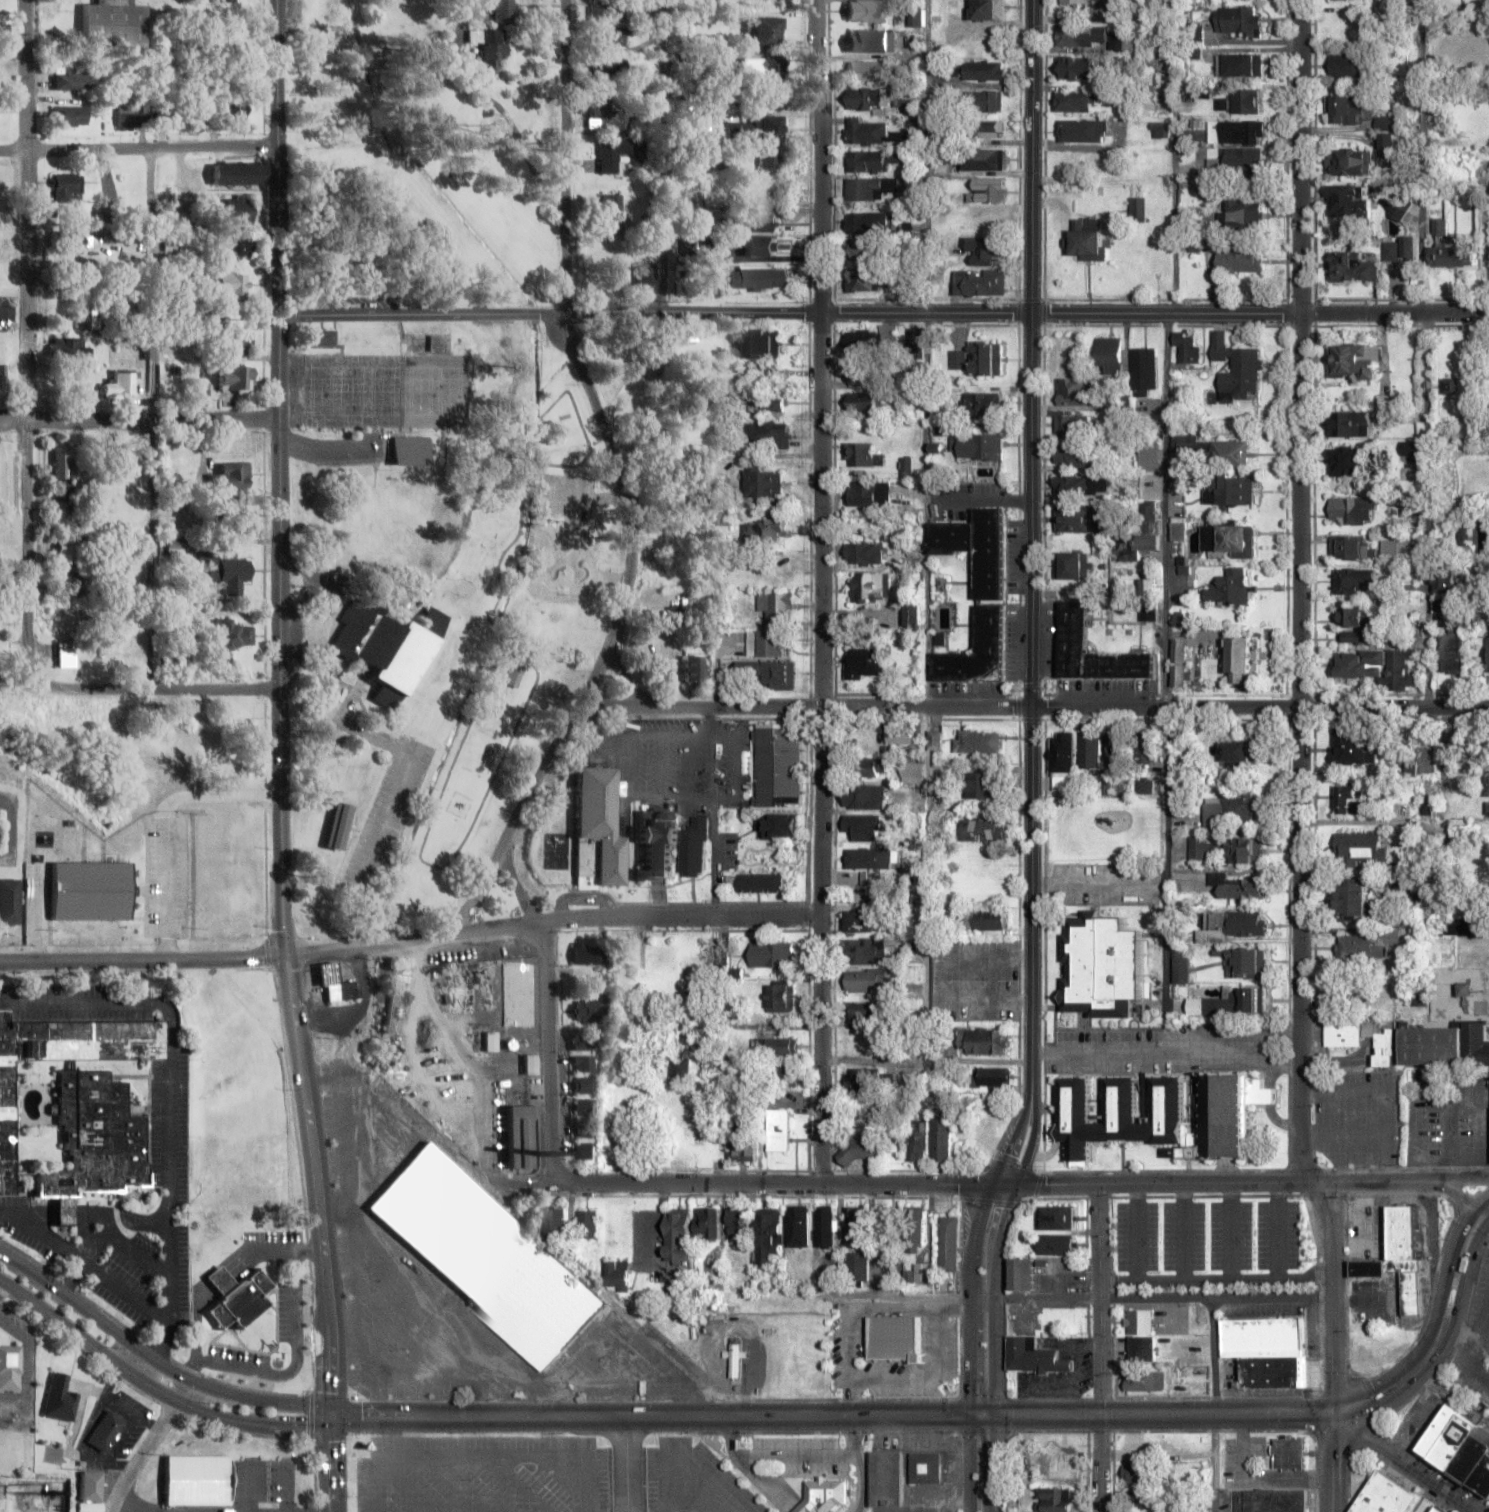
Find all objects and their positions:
building: (769, 0)
building: (1084, 3)
building: (987, 9)
building: (503, 10)
building: (868, 11)
building: (609, 13)
building: (917, 17)
building: (1238, 20)
building: (114, 24)
building: (766, 34)
building: (1096, 36)
building: (611, 37)
building: (869, 41)
building: (489, 47)
building: (1239, 64)
building: (1350, 65)
building: (1078, 67)
building: (608, 68)
building: (762, 69)
building: (867, 70)
building: (984, 70)
building: (70, 75)
building: (866, 98)
building: (984, 100)
building: (1244, 100)
building: (1074, 101)
building: (1351, 108)
building: (133, 114)
building: (237, 114)
building: (606, 115)
building: (70, 116)
building: (990, 128)
building: (1159, 129)
building: (756, 130)
building: (1082, 130)
building: (1238, 132)
building: (1388, 132)
building: (874, 133)
road: (139, 150)
building: (614, 153)
road: (665, 157)
building: (1244, 158)
building: (984, 159)
building: (874, 160)
building: (769, 161)
building: (1346, 161)
building: (238, 173)
park: (412, 174)
building: (65, 186)
building: (870, 188)
building: (988, 190)
building: (1343, 200)
building: (1136, 206)
building: (236, 211)
building: (1399, 211)
building: (613, 212)
building: (1244, 214)
building: (762, 222)
building: (867, 222)
building: (993, 223)
building: (1090, 240)
building: (237, 247)
building: (760, 247)
building: (867, 249)
building: (1401, 249)
building: (987, 251)
building: (1455, 255)
building: (1239, 260)
building: (1352, 267)
building: (647, 275)
building: (757, 278)
building: (863, 280)
building: (981, 283)
building: (233, 284)
building: (87, 312)
road: (884, 315)
building: (218, 316)
road: (29, 338)
building: (324, 338)
building: (864, 341)
building: (761, 343)
building: (915, 343)
building: (239, 346)
building: (1186, 346)
building: (80, 352)
road: (819, 354)
road: (1030, 354)
road: (1165, 354)
road: (1425, 354)
building: (1110, 355)
building: (987, 358)
building: (959, 359)
building: (1353, 360)
building: (1236, 367)
building: (1144, 368)
building: (774, 371)
building: (863, 373)
building: (235, 379)
building: (4, 382)
building: (125, 384)
building: (1447, 385)
building: (203, 389)
building: (1074, 391)
park: (323, 393)
park: (382, 393)
park: (421, 393)
park: (353, 394)
park: (449, 394)
building: (862, 402)
building: (774, 403)
building: (984, 404)
road: (280, 411)
road: (157, 420)
road: (140, 423)
building: (1073, 426)
building: (770, 434)
road: (609, 436)
building: (979, 445)
building: (1218, 450)
building: (172, 451)
building: (412, 451)
parking lot: (352, 452)
road: (488, 454)
building: (866, 454)
building: (1078, 456)
building: (1148, 456)
building: (1346, 460)
building: (66, 462)
building: (121, 464)
building: (907, 467)
building: (230, 475)
building: (764, 482)
building: (1077, 485)
building: (1232, 491)
building: (869, 493)
building: (1352, 510)
building: (1076, 518)
building: (236, 522)
parking lot: (563, 529)
building: (765, 530)
building: (1179, 530)
road: (926, 531)
building: (1137, 532)
building: (1464, 535)
building: (676, 537)
building: (1229, 538)
building: (179, 545)
building: (1352, 546)
building: (65, 551)
building: (864, 553)
building: (1075, 565)
building: (226, 571)
building: (772, 571)
building: (1356, 580)
building: (1148, 585)
building: (870, 586)
building: (70, 587)
building: (1230, 588)
road: (1301, 591)
building: (976, 594)
park: (434, 598)
building: (777, 605)
building: (1147, 611)
building: (682, 616)
building: (913, 616)
building: (1353, 616)
building: (1072, 625)
building: (232, 635)
building: (1358, 636)
building: (385, 643)
building: (766, 643)
building: (1452, 651)
building: (67, 655)
building: (1487, 656)
building: (1240, 659)
building: (865, 662)
building: (1178, 662)
building: (1377, 667)
building: (694, 671)
building: (781, 674)
building: (515, 676)
road: (628, 683)
road: (153, 690)
road: (617, 707)
road: (844, 708)
road: (1394, 709)
road: (1165, 710)
building: (898, 735)
building: (977, 741)
building: (1147, 746)
building: (1091, 749)
building: (1117, 749)
building: (1355, 749)
road: (708, 752)
building: (1238, 752)
building: (1061, 758)
parking lot: (678, 763)
building: (777, 765)
road: (662, 766)
road: (692, 766)
building: (870, 768)
building: (1487, 783)
building: (981, 784)
road: (732, 796)
building: (864, 796)
building: (1349, 800)
building: (916, 802)
building: (1488, 807)
building: (1229, 810)
parking lot: (390, 814)
building: (777, 826)
building: (863, 826)
road: (167, 827)
building: (981, 829)
building: (595, 831)
building: (656, 841)
building: (693, 847)
road: (422, 848)
parking lot: (727, 849)
building: (1361, 849)
building: (1225, 850)
road: (713, 857)
building: (866, 858)
parking lot: (167, 877)
building: (761, 883)
road: (519, 886)
road: (483, 888)
building: (1242, 888)
road: (281, 889)
building: (90, 890)
road: (585, 897)
road: (1031, 900)
building: (1352, 900)
building: (9, 901)
road: (642, 918)
building: (985, 920)
building: (862, 921)
building: (1235, 922)
road: (374, 945)
building: (1358, 946)
road: (819, 947)
building: (865, 951)
building: (772, 953)
building: (586, 954)
traffic signals: (282, 957)
road: (141, 961)
building: (1249, 961)
building: (1102, 965)
building: (865, 980)
building: (1352, 982)
building: (335, 983)
building: (781, 996)
building: (1254, 999)
building: (397, 1004)
building: (1211, 1005)
building: (592, 1010)
building: (866, 1011)
building: (984, 1040)
building: (1342, 1040)
building: (492, 1041)
building: (585, 1043)
building: (1477, 1044)
building: (782, 1045)
building: (1432, 1046)
road: (551, 1052)
road: (926, 1063)
building: (531, 1064)
building: (585, 1064)
building: (680, 1071)
building: (785, 1075)
building: (994, 1078)
building: (861, 1079)
building: (460, 1090)
building: (585, 1098)
road: (168, 1102)
building: (426, 1109)
building: (1163, 1115)
building: (7, 1125)
building: (780, 1129)
building: (586, 1130)
park: (982, 1131)
building: (520, 1135)
building: (95, 1136)
building: (941, 1138)
road: (1010, 1138)
road: (1031, 1139)
building: (917, 1140)
building: (741, 1150)
building: (585, 1151)
road: (1457, 1179)
road: (1374, 1183)
road: (1156, 1184)
road: (526, 1185)
road: (772, 1185)
traffic signals: (990, 1185)
traffic signals: (1016, 1185)
road: (318, 1187)
road: (1456, 1201)
building: (1060, 1217)
building: (556, 1222)
building: (708, 1222)
building: (589, 1223)
building: (739, 1224)
building: (856, 1224)
building: (768, 1225)
building: (797, 1225)
building: (916, 1225)
building: (826, 1226)
road: (1280, 1228)
road: (1187, 1229)
road: (1233, 1229)
road: (1140, 1230)
building: (678, 1235)
road: (1326, 1240)
parking lot: (1210, 1241)
building: (948, 1243)
building: (1060, 1244)
road: (1450, 1252)
building: (486, 1257)
building: (1397, 1258)
road: (87, 1261)
building: (857, 1265)
building: (924, 1272)
road: (1464, 1272)
building: (1022, 1273)
building: (619, 1275)
road: (2, 1286)
road: (993, 1298)
road: (967, 1299)
road: (1161, 1299)
building: (241, 1301)
building: (707, 1318)
building: (1138, 1321)
road: (1442, 1325)
building: (895, 1338)
building: (1140, 1346)
road: (1099, 1349)
building: (1265, 1351)
building: (1032, 1356)
building: (734, 1358)
road: (134, 1363)
road: (155, 1363)
building: (9, 1367)
road: (27, 1375)
building: (1143, 1380)
road: (112, 1381)
road: (153, 1390)
building: (60, 1398)
road: (1454, 1402)
road: (132, 1415)
traffic signals: (993, 1416)
road: (789, 1417)
traffic signals: (970, 1417)
traffic signals: (335, 1419)
building: (107, 1430)
road: (150, 1446)
building: (1459, 1448)
building: (1286, 1453)
road: (479, 1455)
road: (88, 1456)
road: (685, 1457)
road: (616, 1464)
road: (970, 1464)
road: (992, 1464)
road: (119, 1465)
road: (335, 1465)
road: (632, 1465)
building: (925, 1467)
building: (1139, 1473)
parking lot: (487, 1474)
road: (1344, 1476)
building: (887, 1477)
building: (198, 1479)
parking lot: (691, 1479)
road: (1421, 1481)
road: (516, 1483)
road: (462, 1484)
parking lot: (266, 1485)
building: (91, 1486)
road: (254, 1486)
road: (289, 1487)
road: (410, 1489)
road: (701, 1493)
building: (824, 1495)
building: (1384, 1496)
building: (1054, 1498)
building: (1145, 1500)
building: (1269, 1500)
road: (135, 1506)
building: (1438, 1510)

